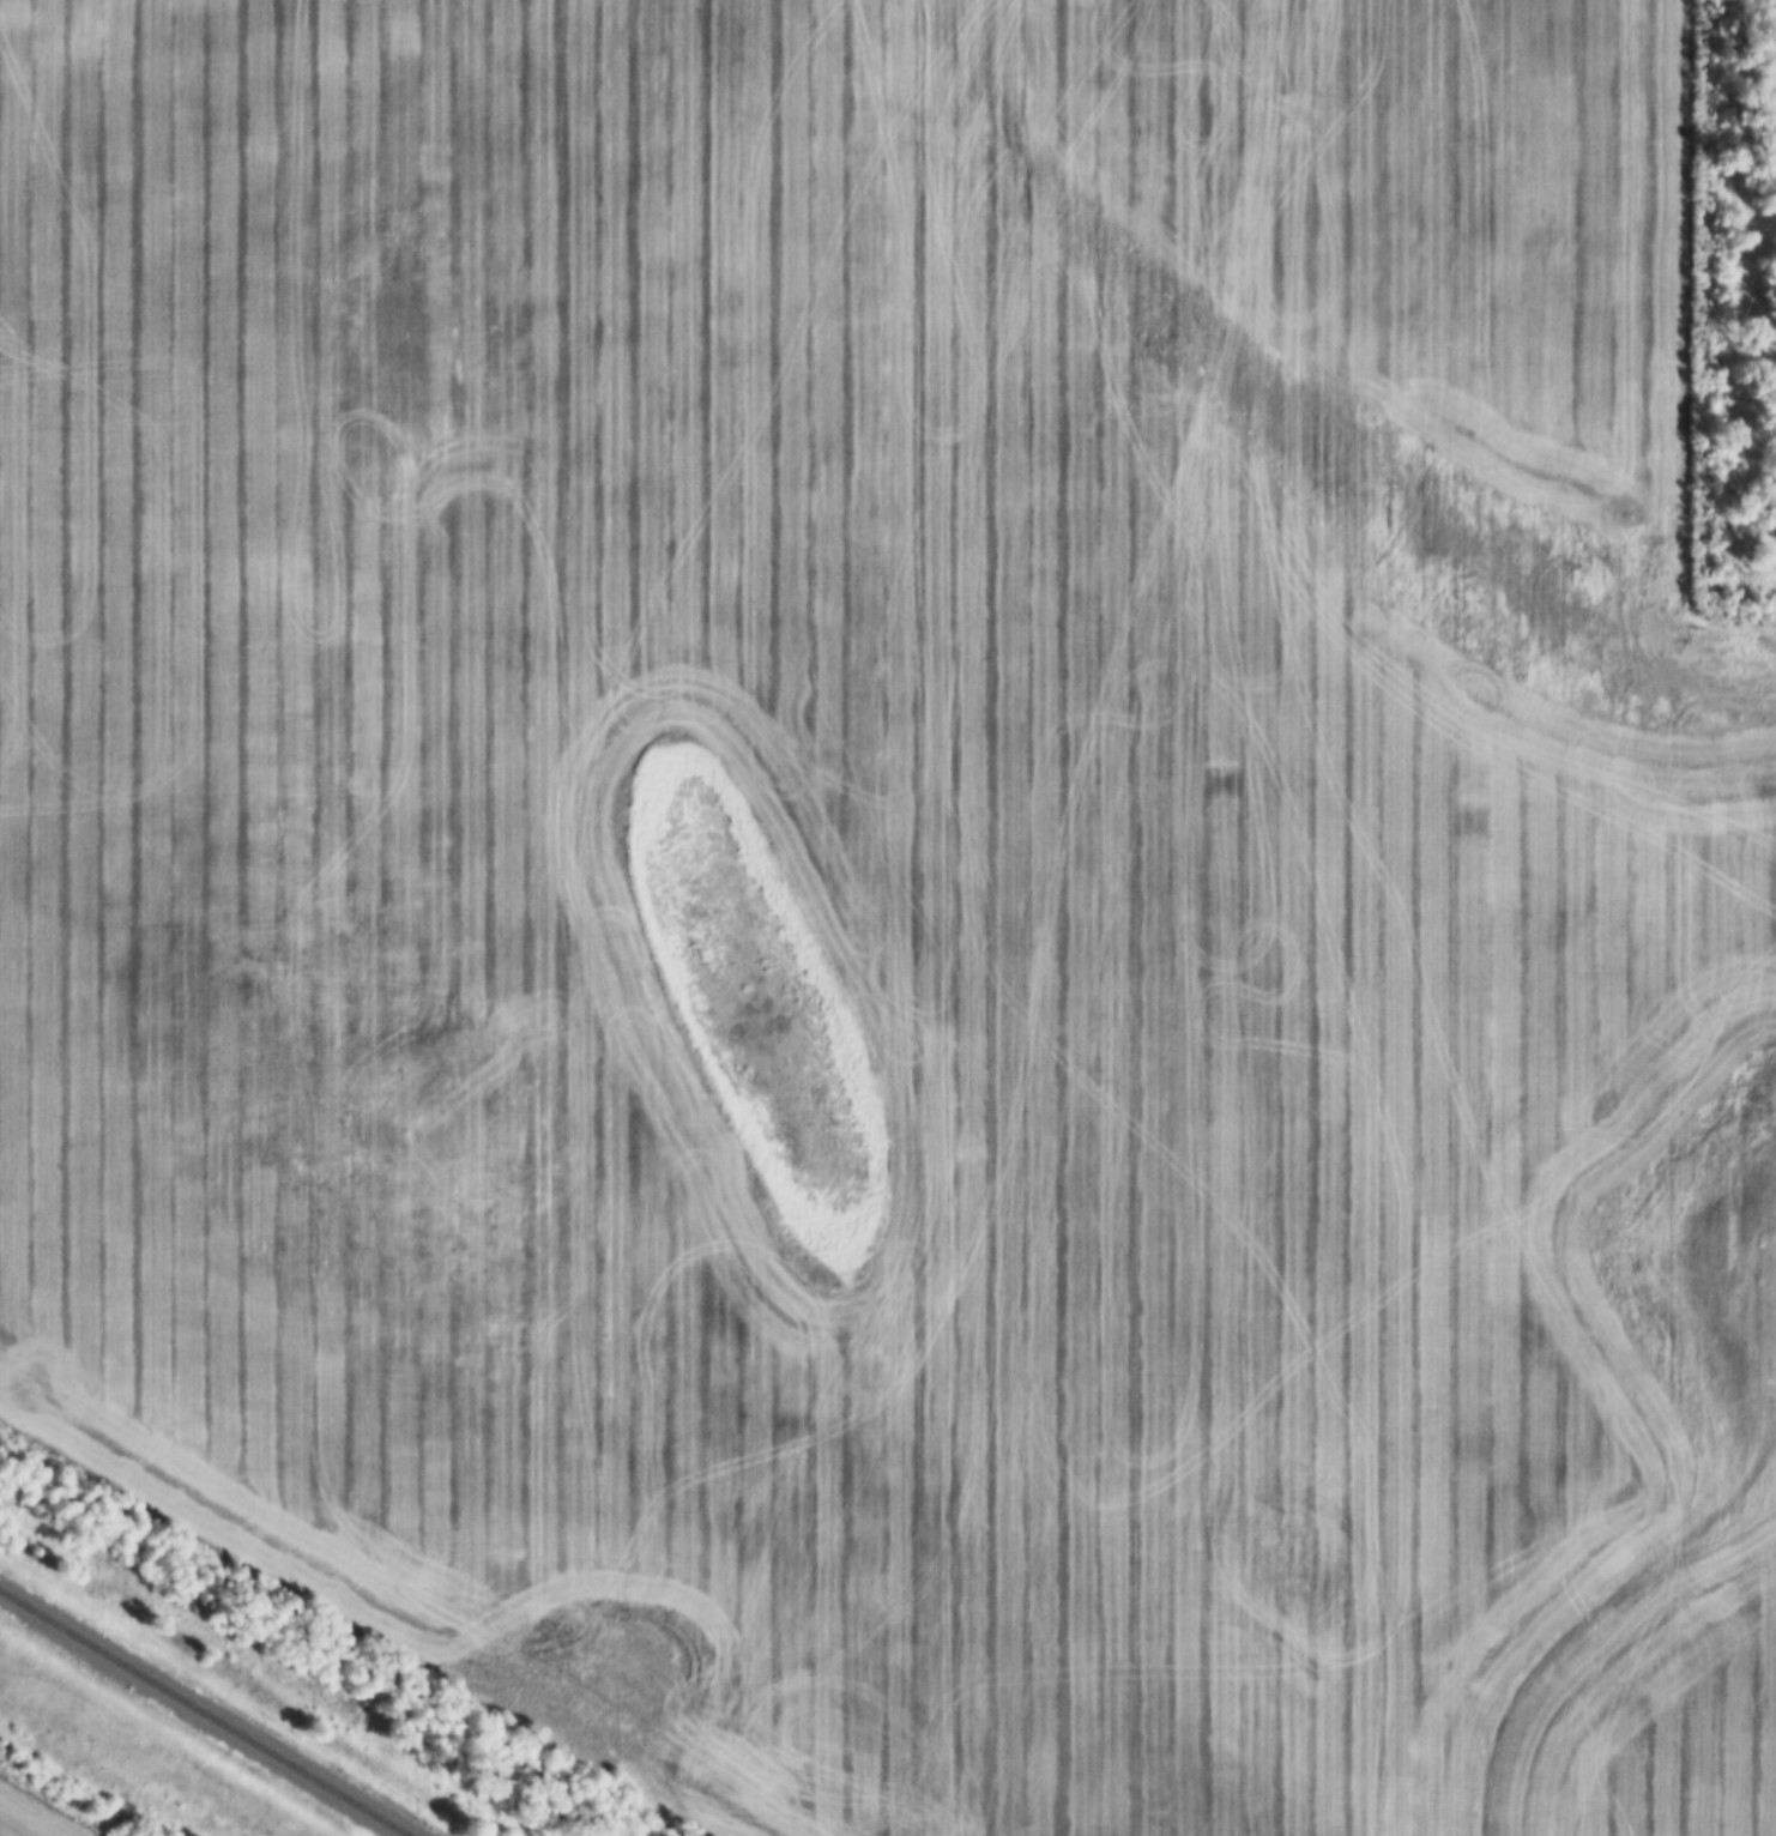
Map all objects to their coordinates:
road: (1345, 289)
railway: (204, 1713)

